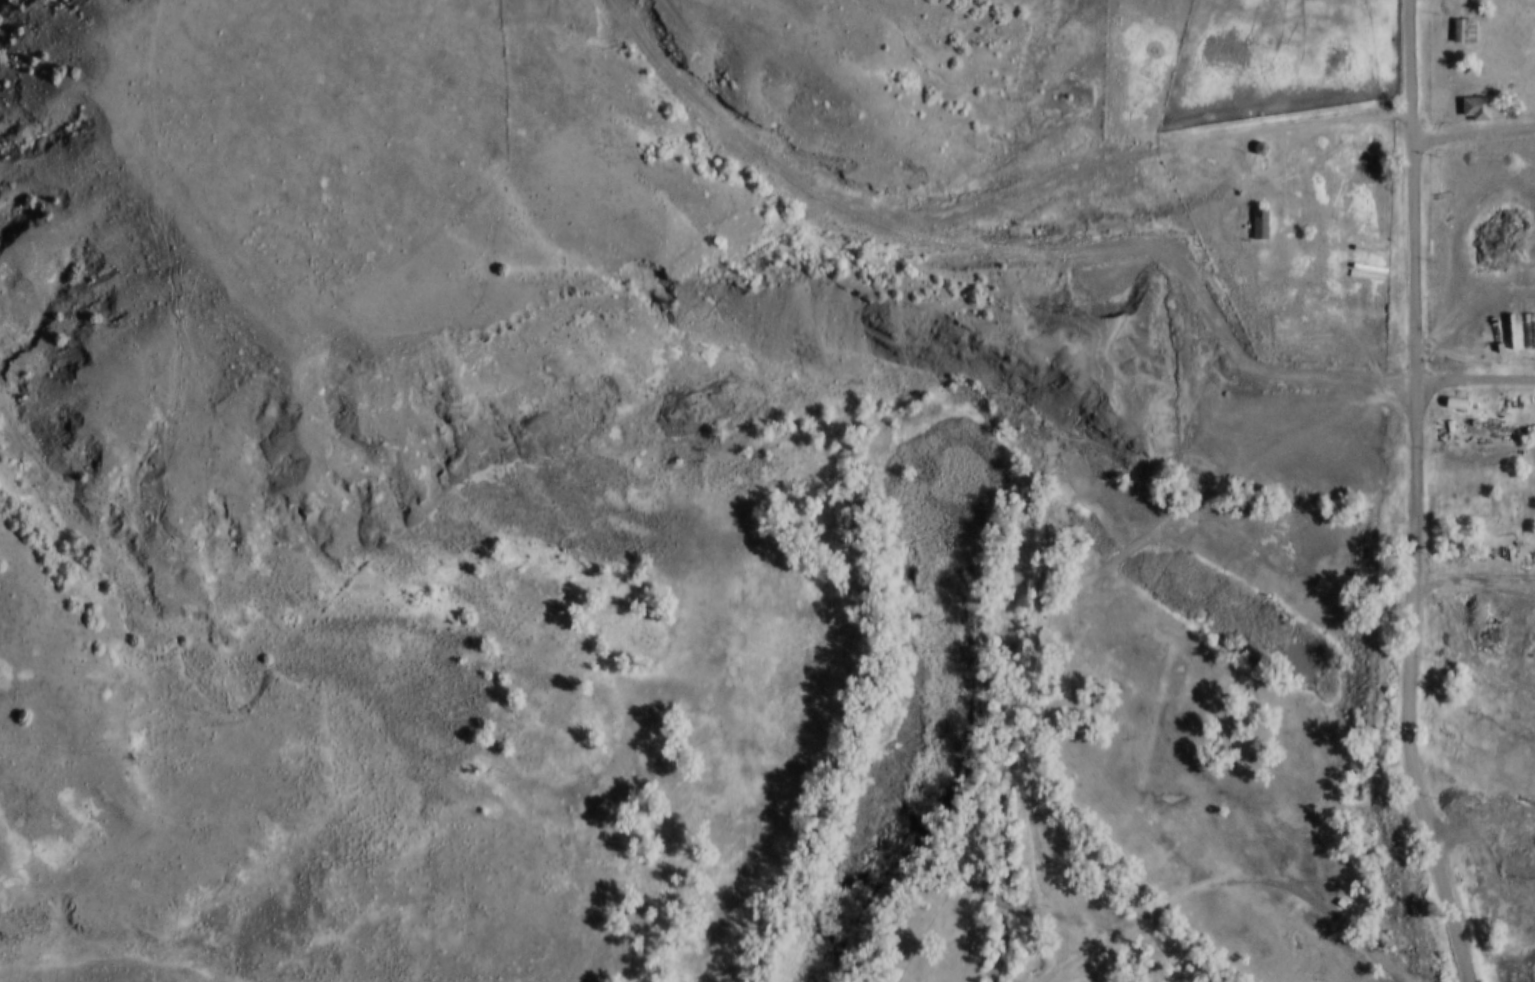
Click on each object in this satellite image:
building: (1459, 17)
building: (1464, 31)
road: (1408, 57)
building: (1470, 95)
building: (1476, 110)
road: (1472, 133)
building: (1253, 135)
silo: (1253, 135)
building: (1254, 151)
silo: (1254, 151)
building: (1252, 211)
road: (976, 214)
building: (1260, 226)
road: (1181, 308)
road: (1474, 379)
building: (1455, 404)
road: (1414, 552)
road: (1233, 880)
building: (1334, 890)

